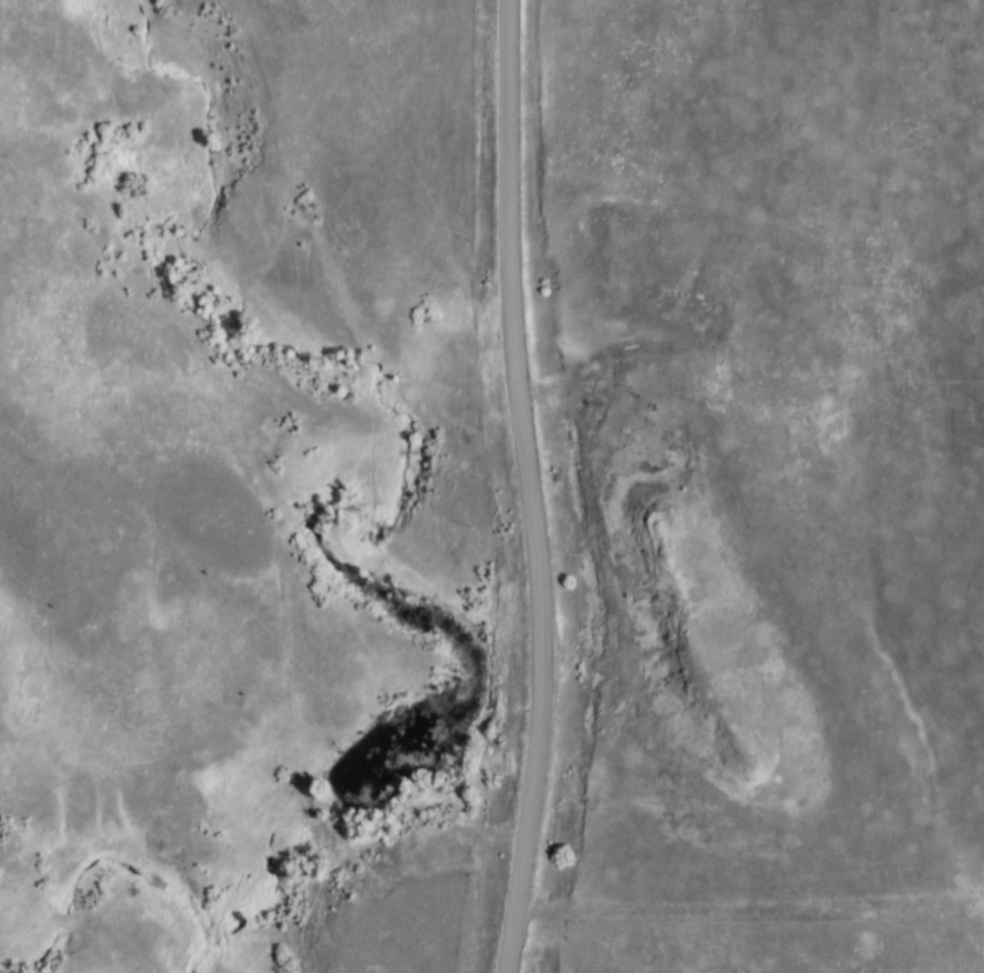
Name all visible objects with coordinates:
road: (529, 487)

